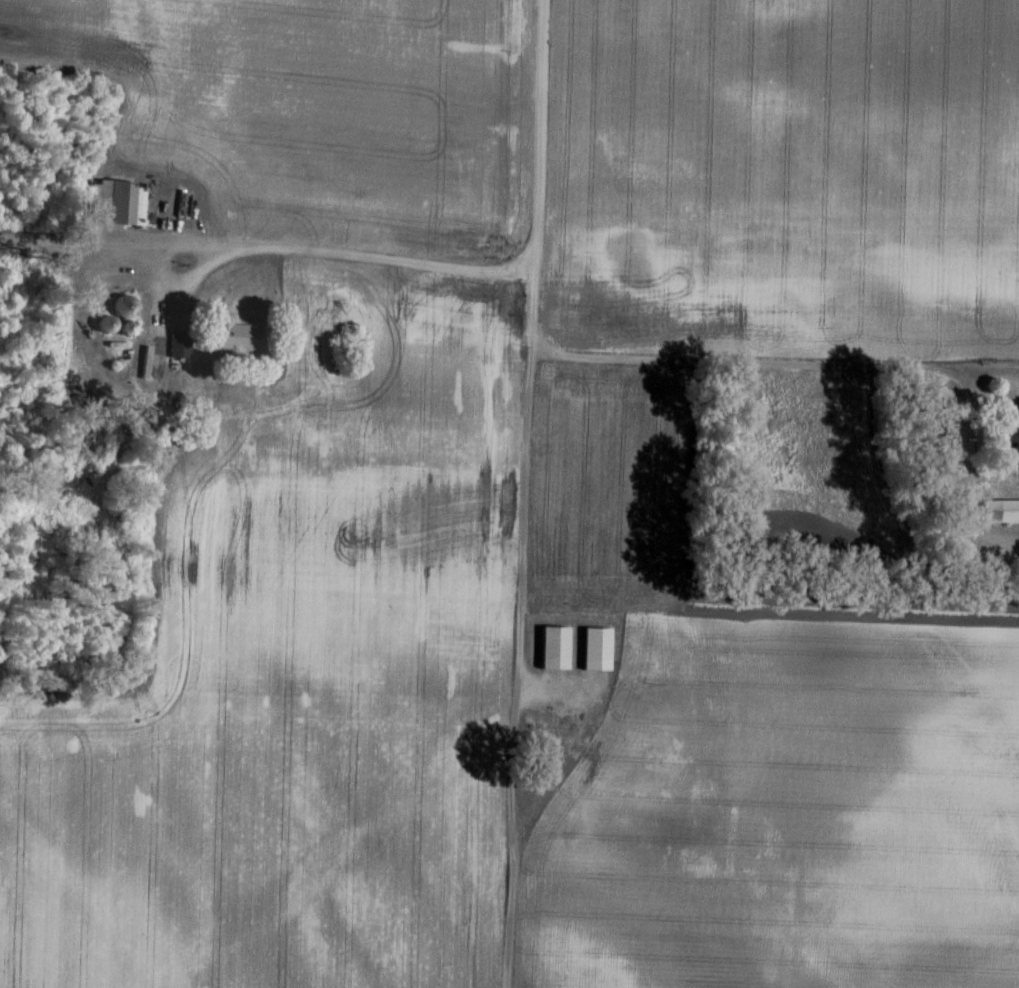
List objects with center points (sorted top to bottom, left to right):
crop: (313, 114)
road: (535, 135)
building: (114, 203)
road: (115, 241)
road: (378, 259)
building: (124, 307)
building: (237, 337)
building: (177, 346)
road: (841, 365)
building: (1006, 434)
building: (999, 512)
road: (517, 629)
building: (597, 645)
building: (555, 649)

